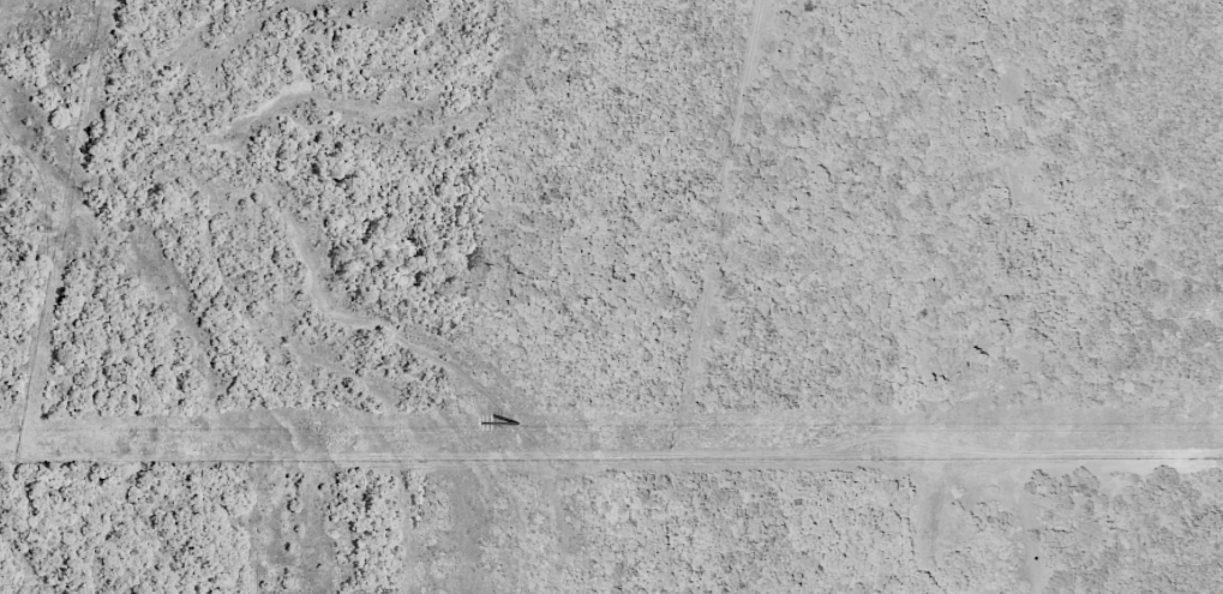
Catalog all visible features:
road: (958, 304)
power tower: (517, 421)

